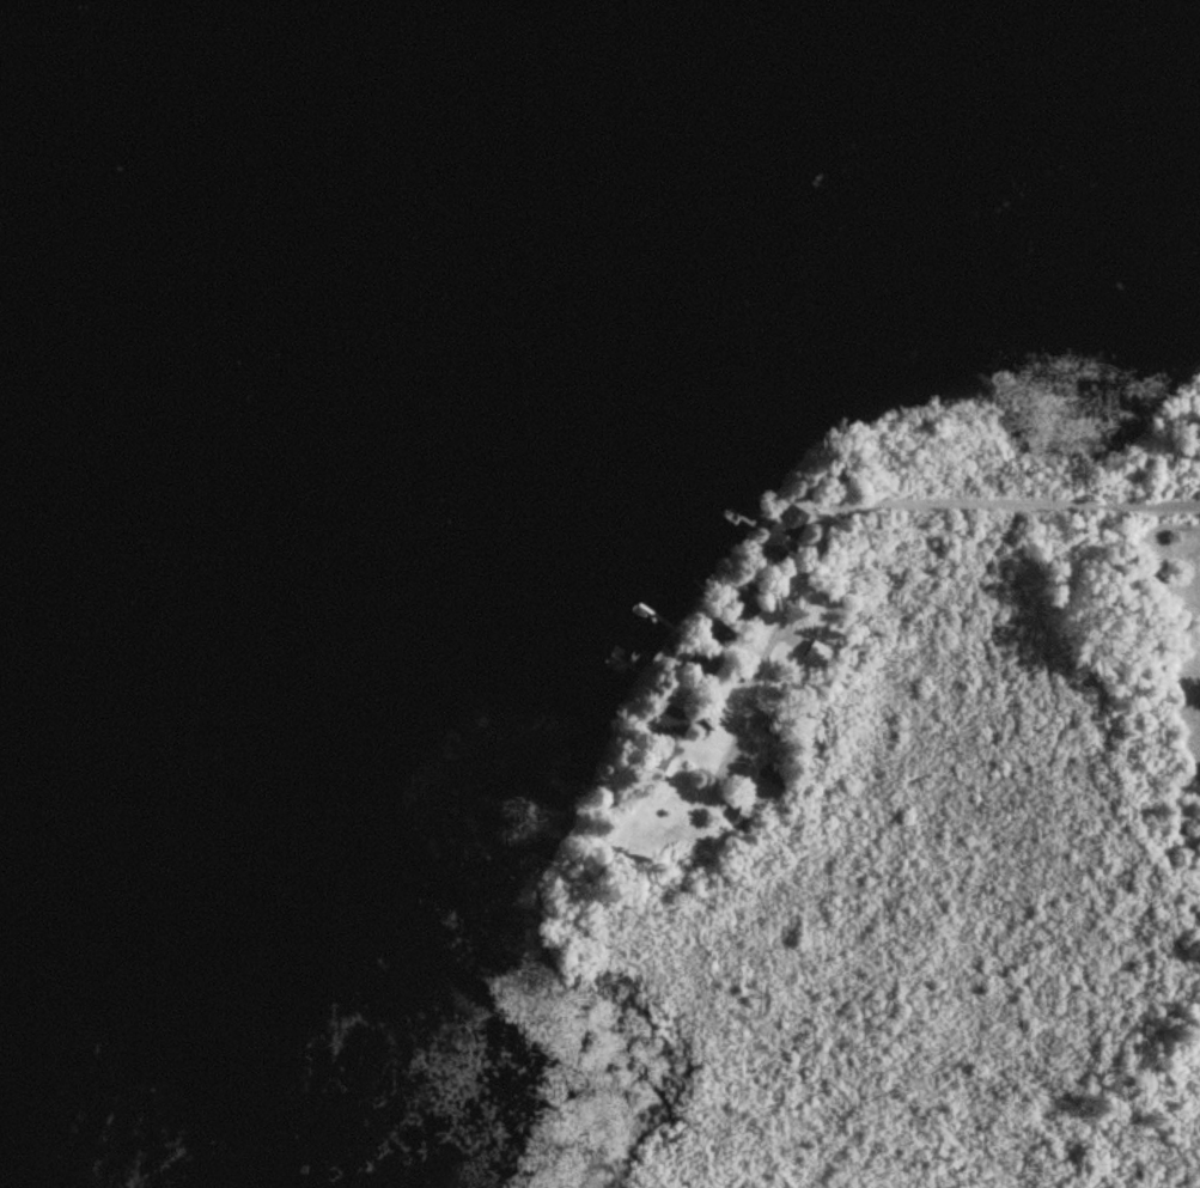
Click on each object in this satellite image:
road: (927, 501)
building: (782, 532)
building: (741, 607)
building: (721, 634)
building: (817, 656)
building: (669, 719)
building: (658, 764)
building: (767, 784)
building: (744, 817)

